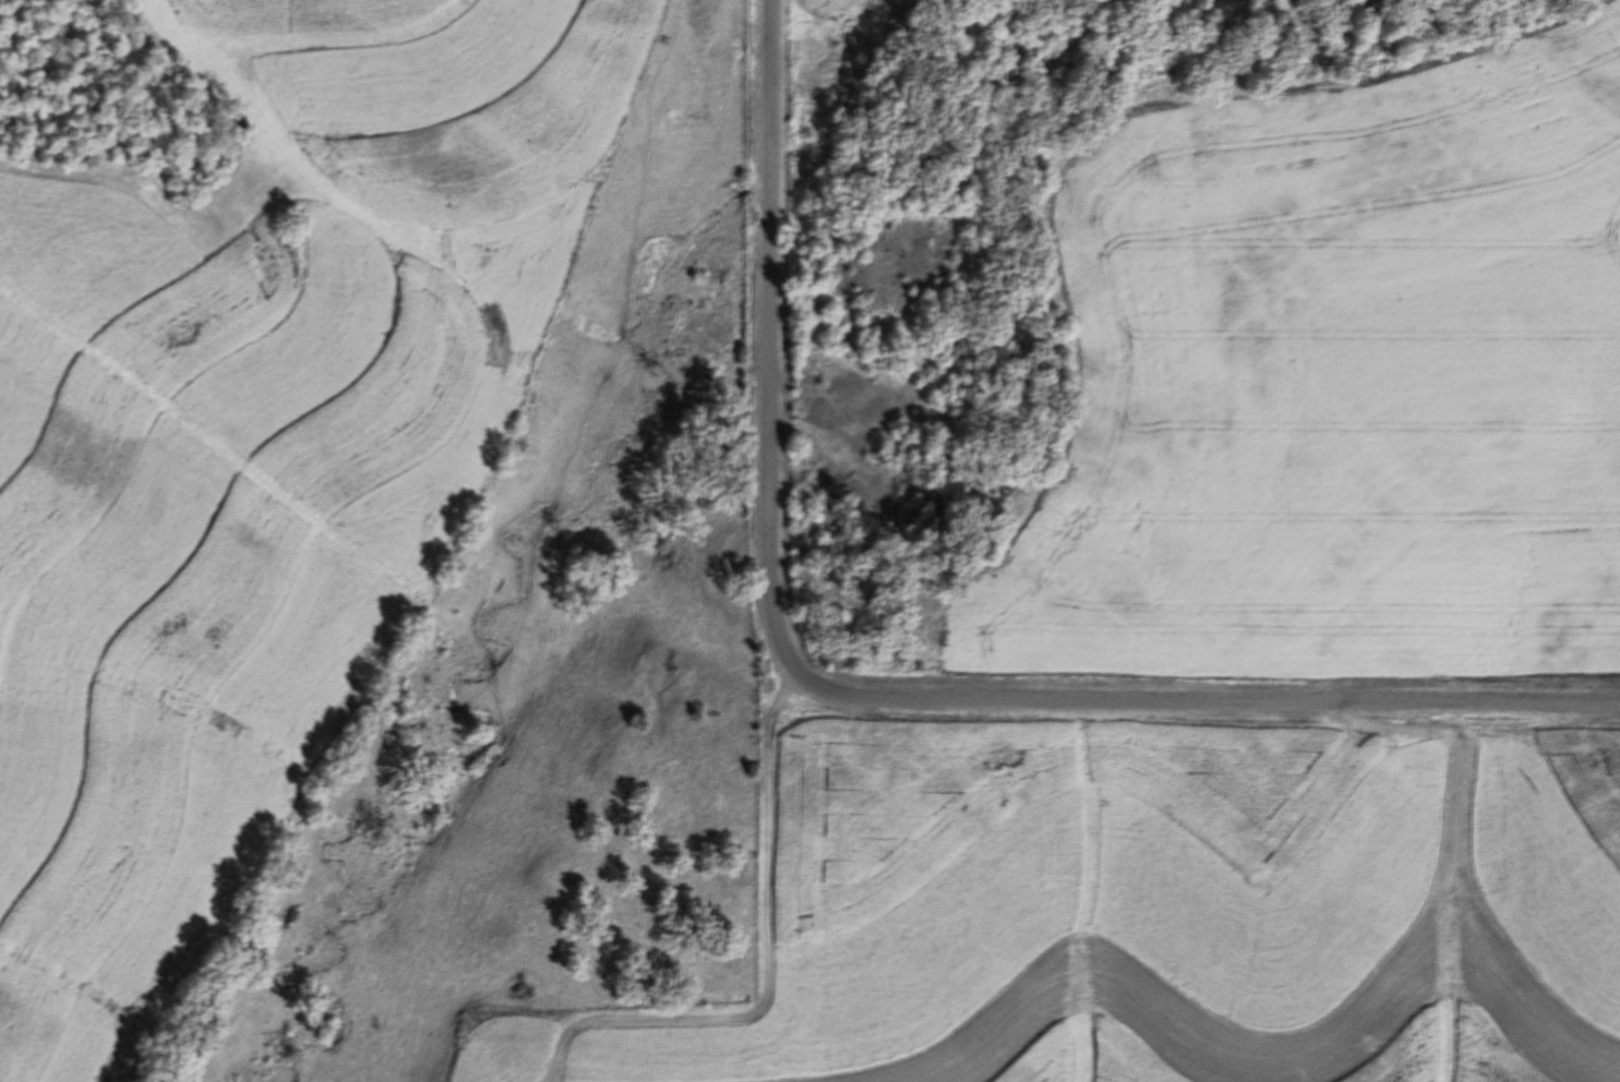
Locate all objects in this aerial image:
road: (867, 694)

